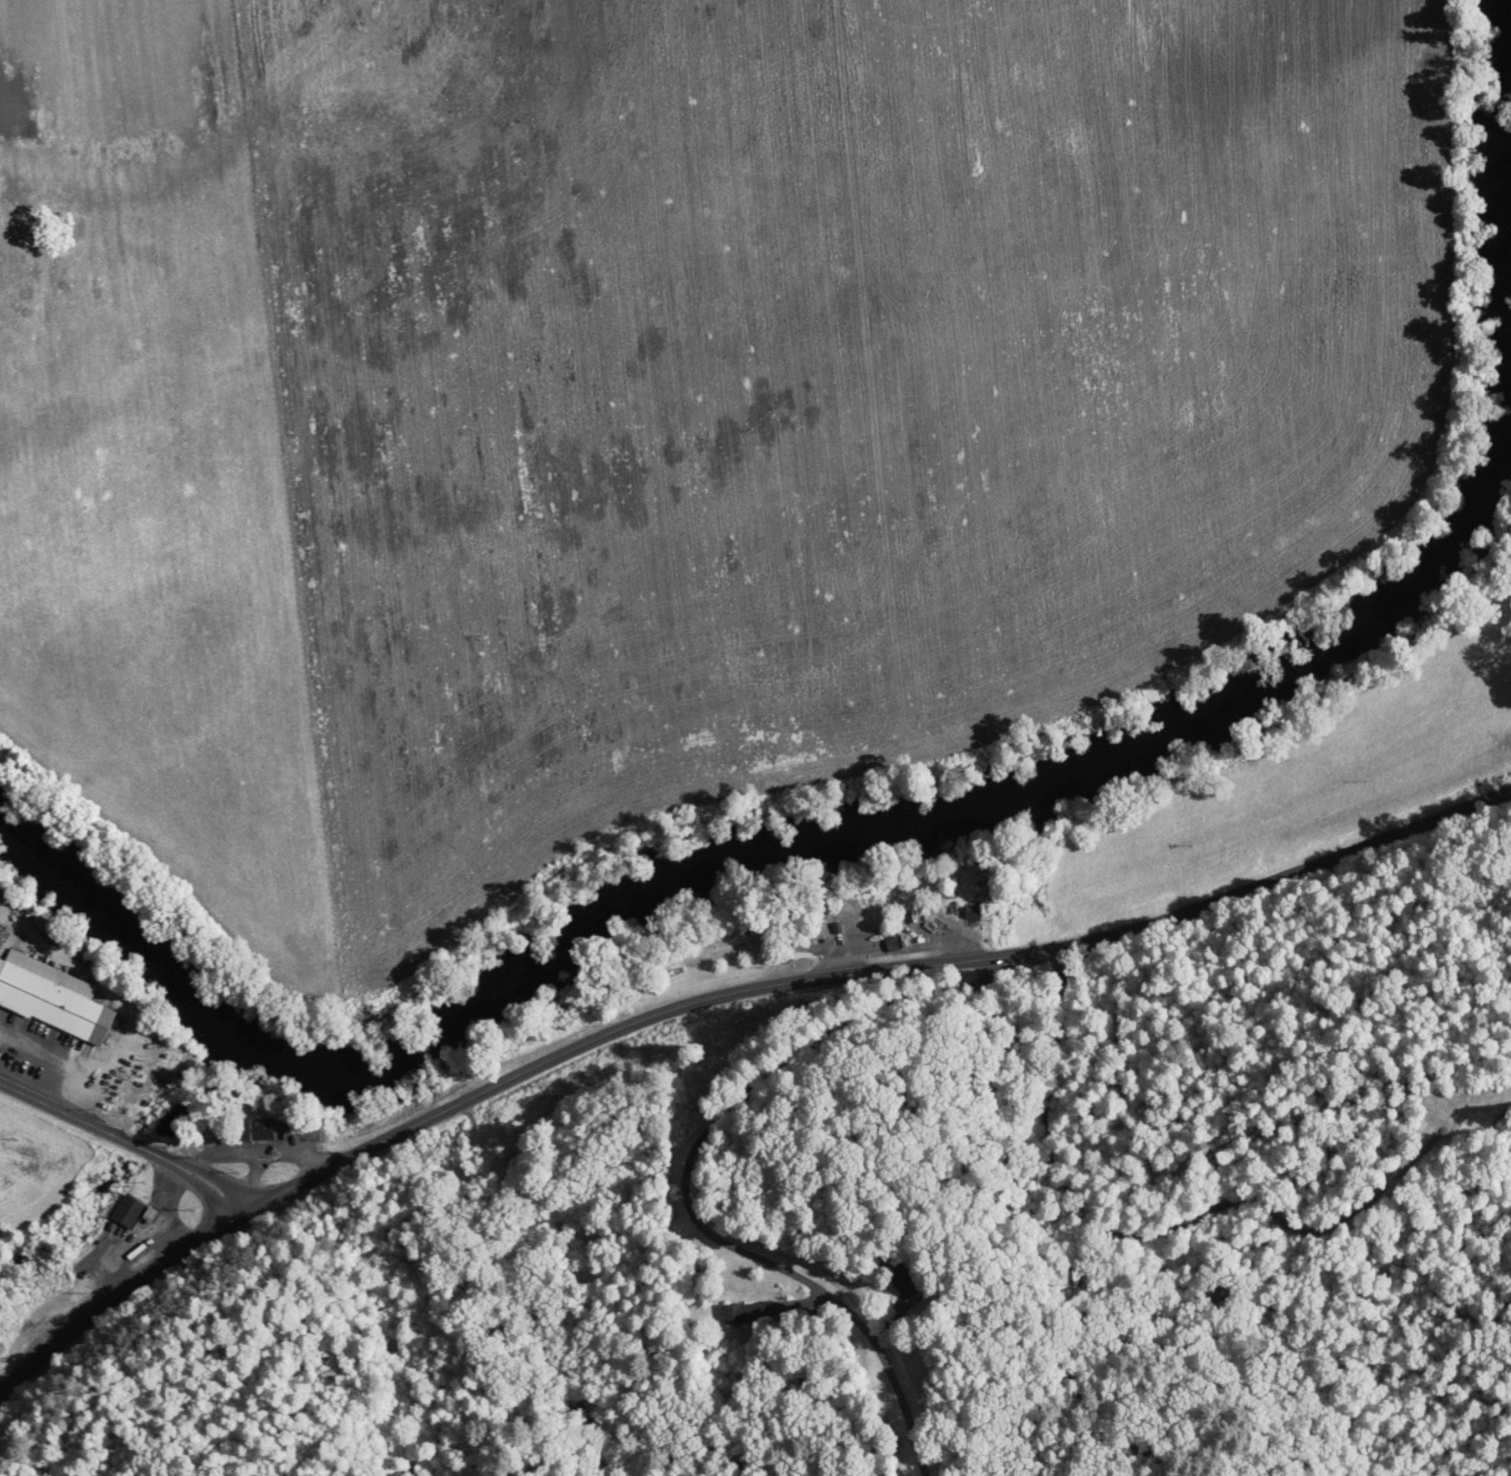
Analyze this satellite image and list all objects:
river: (967, 799)
building: (971, 911)
road: (717, 995)
building: (52, 1004)
building: (250, 1128)
road: (125, 1139)
road: (253, 1148)
road: (252, 1177)
road: (684, 1181)
road: (166, 1199)
road: (130, 1243)
building: (895, 1276)
building: (733, 1311)

